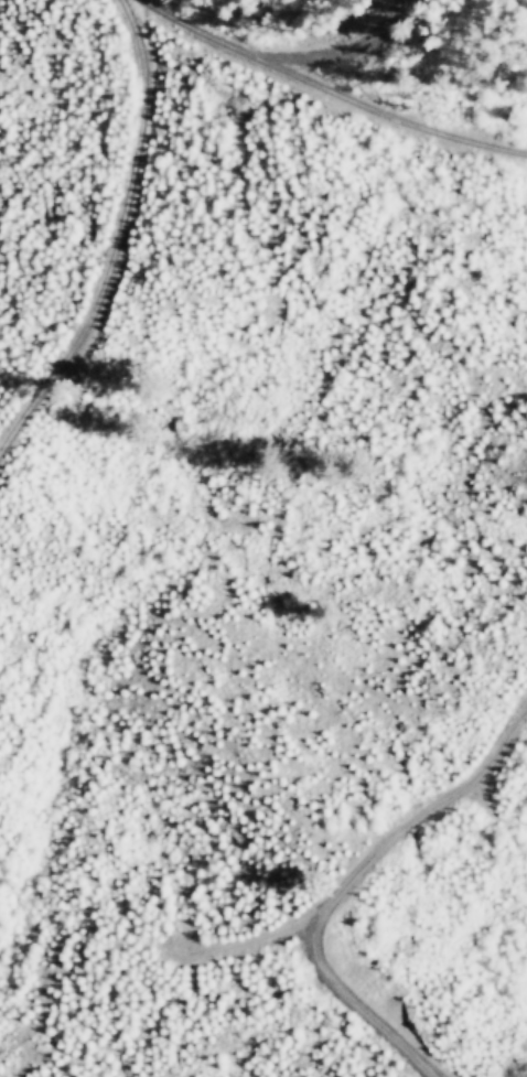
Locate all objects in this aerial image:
road: (329, 89)
road: (116, 240)
road: (373, 859)

